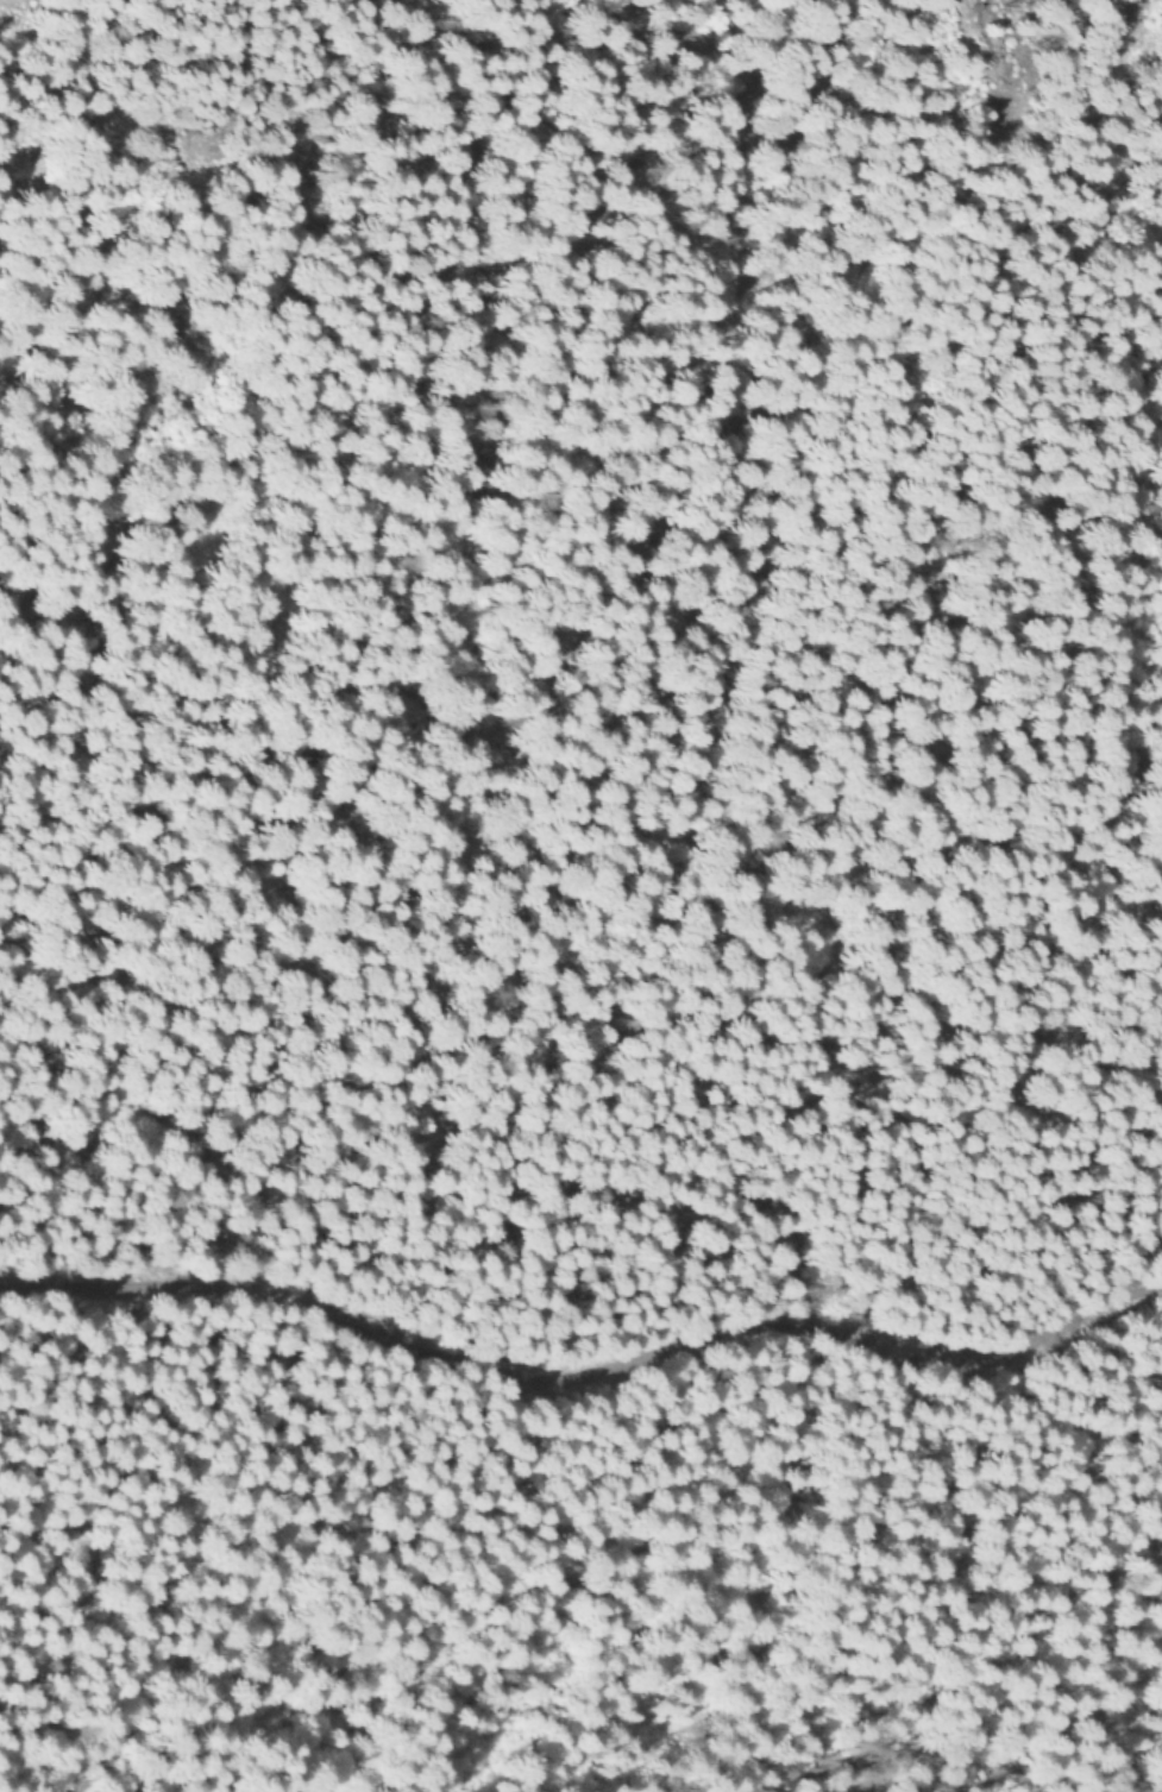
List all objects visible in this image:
road: (583, 1379)

